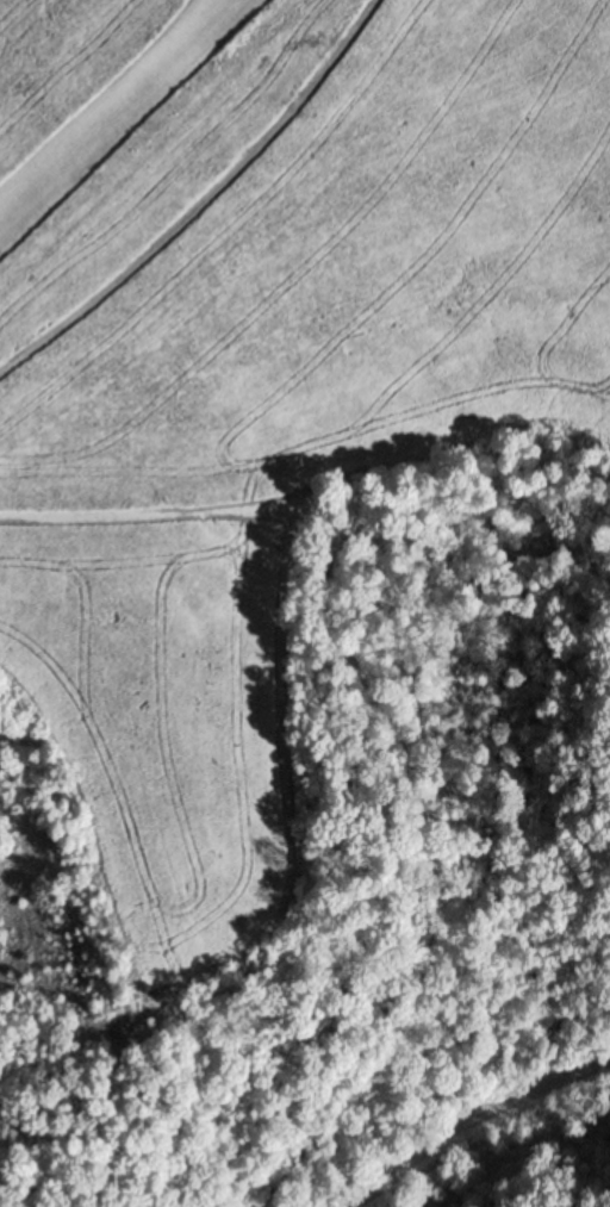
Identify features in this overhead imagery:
airport runway: (123, 110)
road: (201, 200)
crop: (164, 722)
road: (473, 1120)

